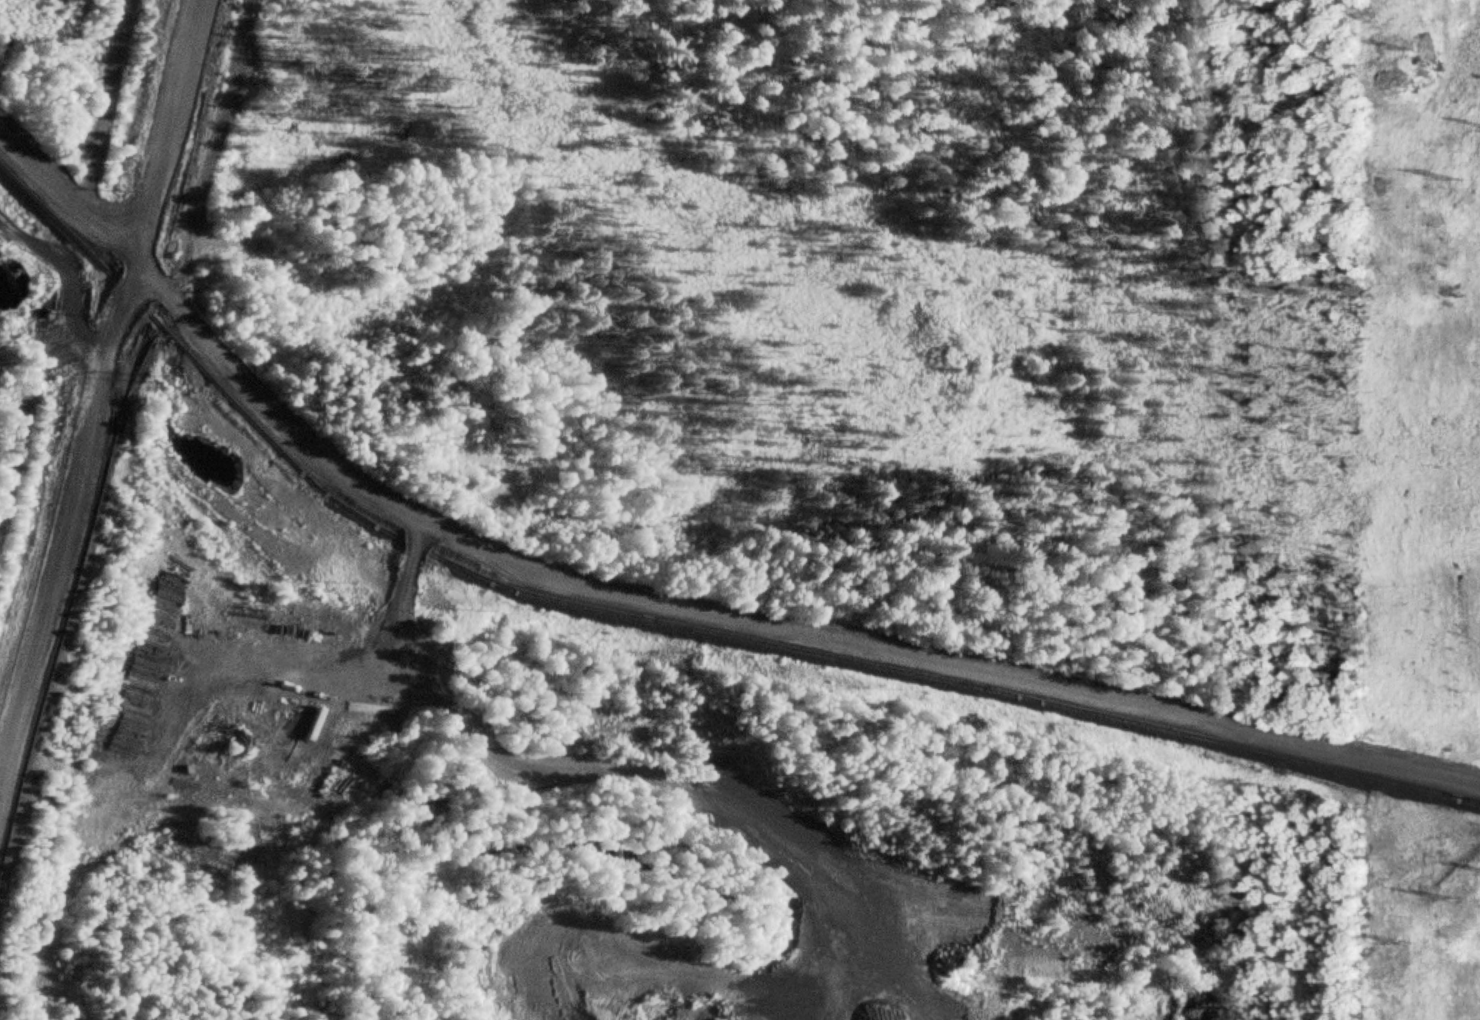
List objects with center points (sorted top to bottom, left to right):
road: (104, 337)
road: (668, 605)

